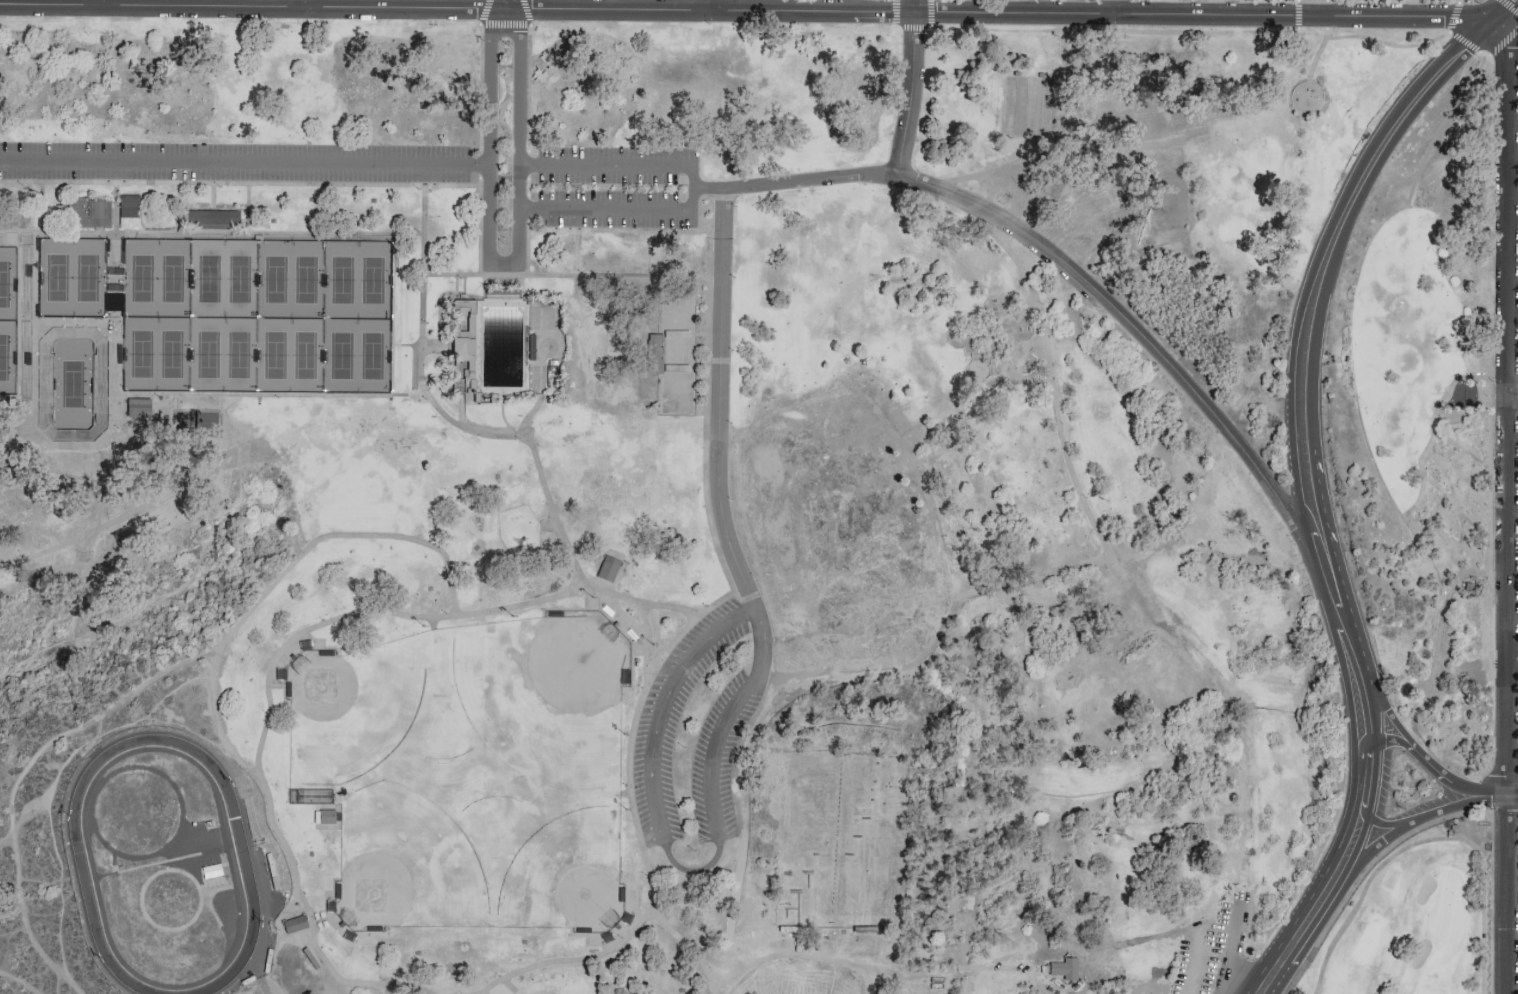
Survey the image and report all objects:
road: (106, 2)
road: (305, 4)
road: (505, 4)
road: (709, 5)
road: (1510, 5)
road: (813, 6)
road: (913, 6)
road: (1211, 6)
road: (1015, 7)
road: (1115, 7)
road: (1312, 7)
road: (1413, 7)
road: (1501, 10)
road: (745, 11)
road: (1297, 13)
road: (1453, 16)
road: (504, 23)
road: (912, 26)
road: (492, 34)
road: (1457, 39)
road: (1388, 45)
road: (1322, 47)
road: (481, 86)
road: (528, 87)
road: (909, 94)
park: (1027, 106)
road: (1075, 148)
road: (481, 162)
parking lot: (240, 165)
road: (246, 165)
road: (528, 166)
road: (481, 179)
road: (796, 181)
road: (212, 185)
road: (528, 186)
road: (695, 188)
road: (212, 194)
road: (480, 201)
road: (176, 203)
building: (127, 205)
road: (528, 207)
road: (248, 209)
building: (85, 211)
building: (208, 218)
road: (528, 225)
road: (528, 229)
road: (78, 232)
road: (16, 234)
road: (270, 234)
road: (518, 252)
road: (576, 252)
road: (33, 272)
road: (566, 275)
park: (56, 277)
park: (87, 277)
park: (141, 277)
park: (171, 277)
park: (209, 277)
park: (239, 277)
park: (274, 278)
park: (305, 278)
park: (341, 280)
park: (371, 280)
road: (1323, 280)
park: (4, 283)
road: (463, 286)
road: (482, 296)
road: (393, 303)
road: (438, 308)
road: (707, 318)
building: (461, 347)
road: (580, 351)
park: (679, 352)
park: (208, 353)
building: (653, 353)
park: (140, 354)
park: (171, 354)
park: (238, 354)
park: (273, 354)
park: (304, 355)
park: (340, 355)
park: (370, 355)
road: (1479, 356)
park: (4, 357)
road: (114, 357)
road: (1500, 377)
park: (71, 383)
stadium: (72, 383)
road: (408, 394)
road: (1513, 395)
road: (16, 397)
road: (174, 401)
road: (197, 403)
road: (719, 403)
building: (135, 407)
road: (461, 409)
road: (530, 412)
road: (1474, 412)
road: (501, 415)
park: (1425, 420)
park: (194, 422)
road: (109, 429)
road: (241, 434)
road: (1492, 476)
road: (185, 492)
road: (1509, 506)
road: (35, 509)
park: (746, 510)
road: (549, 521)
road: (1108, 561)
building: (606, 568)
road: (723, 570)
road: (287, 573)
road: (1036, 578)
road: (131, 579)
road: (182, 587)
road: (646, 602)
road: (713, 604)
road: (466, 616)
road: (644, 617)
road: (636, 627)
road: (1350, 637)
road: (36, 651)
road: (882, 667)
road: (686, 669)
road: (1389, 715)
road: (1368, 716)
park: (1123, 718)
road: (98, 728)
road: (186, 728)
parking lot: (699, 729)
road: (1391, 741)
road: (1431, 765)
road: (27, 771)
road: (54, 786)
road: (1479, 790)
road: (1512, 796)
road: (632, 798)
road: (28, 807)
road: (738, 810)
building: (325, 815)
road: (1413, 823)
road: (1387, 824)
park: (822, 837)
track: (174, 866)
track: (166, 869)
building: (217, 873)
road: (702, 877)
road: (1335, 877)
building: (293, 922)
park: (1407, 924)
road: (1202, 944)
park: (1210, 946)
road: (799, 948)
parking lot: (1211, 948)
road: (1237, 951)
road: (598, 955)
road: (740, 957)
building: (1061, 967)
road: (721, 976)
road: (302, 979)
road: (16, 984)
parking lot: (314, 985)
road: (259, 991)
road: (307, 991)

